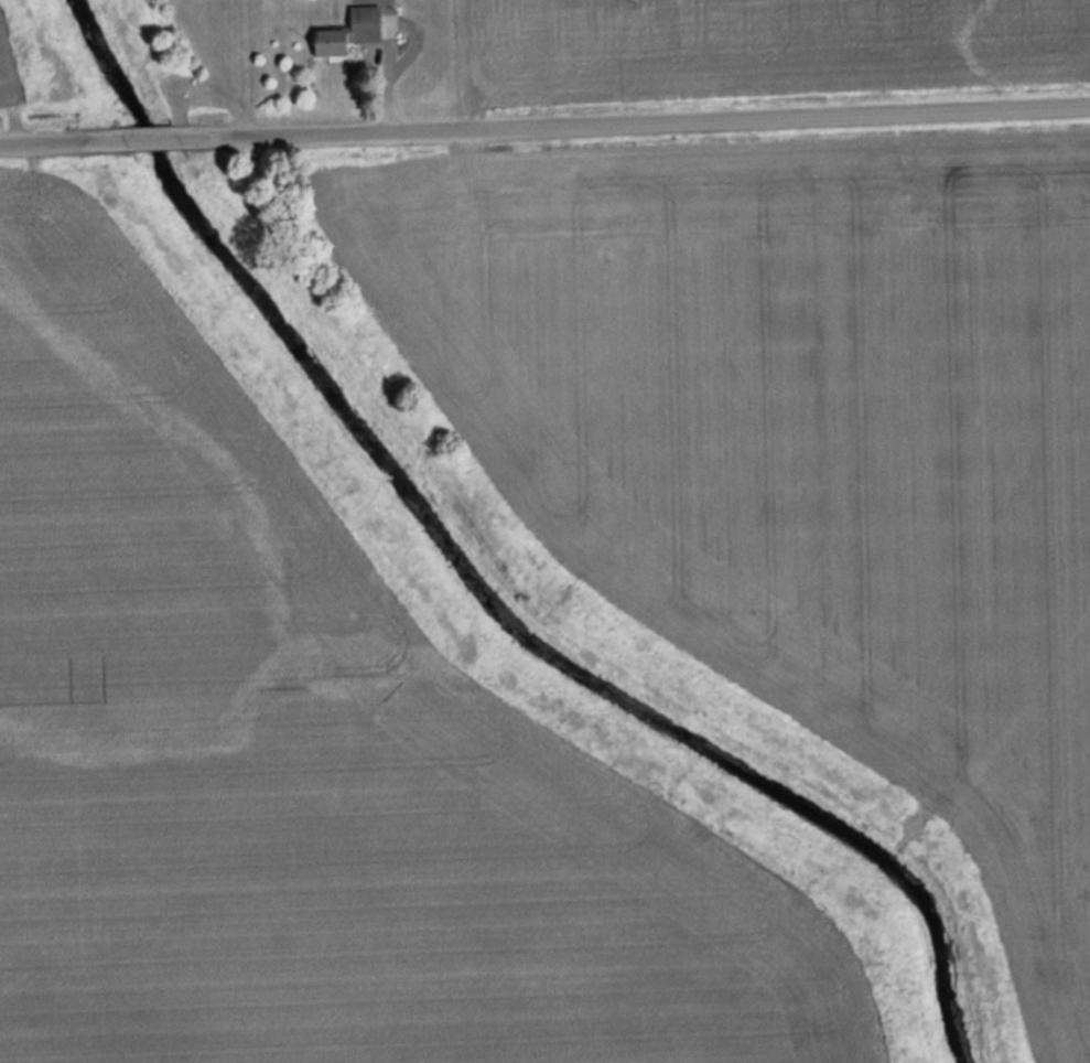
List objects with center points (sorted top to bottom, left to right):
building: (347, 31)
road: (633, 120)
road: (151, 138)
road: (63, 141)

